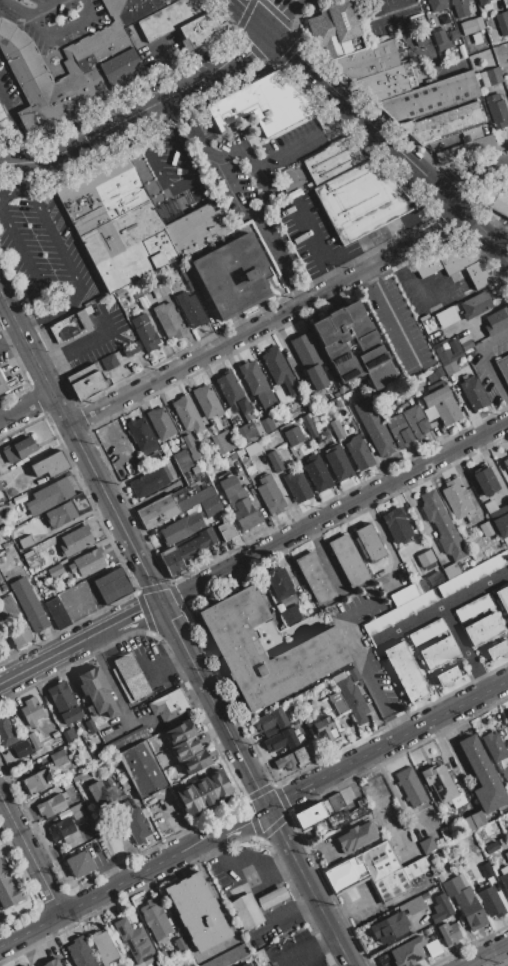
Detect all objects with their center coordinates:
building: (20, 0)
building: (482, 2)
building: (424, 4)
building: (437, 5)
building: (460, 7)
road: (41, 8)
road: (12, 10)
building: (507, 11)
road: (276, 12)
road: (389, 13)
road: (250, 14)
building: (170, 17)
building: (431, 23)
building: (501, 23)
building: (471, 25)
building: (332, 27)
traffic signals: (265, 28)
road: (63, 30)
building: (202, 30)
building: (420, 39)
building: (440, 40)
road: (250, 43)
building: (367, 60)
building: (74, 64)
road: (162, 69)
road: (213, 71)
parking lot: (4, 76)
building: (491, 77)
building: (386, 83)
building: (431, 97)
building: (266, 106)
building: (3, 111)
building: (498, 112)
building: (444, 121)
road: (15, 127)
building: (472, 134)
road: (99, 135)
road: (303, 141)
road: (386, 142)
building: (464, 149)
building: (334, 160)
road: (252, 168)
road: (18, 173)
road: (470, 173)
road: (183, 184)
parking lot: (246, 189)
road: (8, 194)
road: (240, 197)
building: (362, 201)
building: (500, 202)
building: (129, 222)
road: (507, 223)
road: (309, 232)
road: (499, 233)
parking lot: (41, 248)
road: (60, 252)
building: (455, 257)
road: (345, 259)
road: (25, 263)
building: (426, 265)
building: (480, 274)
building: (211, 276)
building: (174, 286)
road: (412, 287)
building: (155, 292)
building: (142, 301)
building: (476, 304)
building: (191, 309)
building: (447, 312)
road: (392, 316)
building: (168, 319)
road: (267, 320)
building: (496, 321)
road: (36, 323)
building: (71, 326)
parking lot: (98, 334)
building: (147, 336)
road: (10, 338)
building: (465, 344)
building: (371, 346)
building: (131, 350)
parking lot: (4, 352)
building: (448, 354)
road: (34, 357)
building: (471, 358)
building: (309, 361)
building: (109, 362)
road: (487, 362)
building: (503, 367)
building: (279, 370)
building: (439, 373)
building: (86, 381)
building: (7, 383)
building: (258, 385)
building: (417, 386)
building: (232, 392)
building: (396, 392)
building: (473, 393)
building: (206, 401)
road: (26, 404)
building: (440, 406)
building: (187, 413)
building: (415, 421)
building: (160, 422)
building: (266, 424)
building: (309, 425)
building: (346, 427)
building: (374, 427)
building: (336, 428)
building: (398, 430)
building: (212, 432)
building: (246, 432)
building: (143, 435)
building: (293, 435)
parking lot: (119, 440)
building: (218, 443)
building: (181, 444)
building: (172, 447)
building: (191, 447)
building: (252, 449)
building: (19, 450)
building: (359, 452)
building: (226, 459)
building: (274, 460)
building: (391, 460)
building: (338, 463)
building: (505, 463)
building: (49, 465)
building: (194, 469)
building: (189, 472)
building: (317, 474)
building: (485, 480)
building: (149, 482)
building: (0, 486)
building: (297, 487)
building: (179, 494)
building: (0, 495)
building: (270, 495)
building: (49, 496)
building: (195, 498)
building: (456, 498)
building: (238, 502)
building: (211, 506)
building: (490, 506)
building: (66, 511)
building: (157, 511)
road: (334, 513)
road: (115, 515)
building: (472, 519)
building: (0, 521)
building: (0, 522)
building: (396, 525)
building: (441, 525)
building: (501, 525)
building: (181, 528)
building: (486, 529)
building: (226, 530)
building: (76, 540)
building: (505, 540)
building: (25, 542)
building: (370, 543)
building: (186, 551)
building: (507, 551)
building: (403, 555)
building: (30, 558)
building: (1, 559)
building: (426, 559)
building: (348, 560)
building: (87, 562)
building: (54, 570)
building: (469, 573)
building: (0, 578)
building: (315, 578)
building: (279, 582)
building: (112, 584)
building: (422, 585)
building: (4, 586)
building: (403, 594)
parking lot: (80, 599)
building: (503, 599)
building: (28, 604)
traffic signals: (161, 606)
building: (473, 607)
building: (9, 608)
road: (89, 610)
building: (56, 612)
road: (135, 612)
building: (398, 613)
building: (287, 616)
road: (447, 617)
road: (408, 625)
building: (483, 629)
building: (427, 631)
road: (95, 633)
building: (19, 636)
building: (3, 644)
building: (318, 644)
building: (496, 649)
building: (439, 653)
road: (357, 660)
road: (39, 663)
building: (405, 671)
building: (353, 674)
building: (131, 676)
building: (447, 676)
building: (122, 685)
road: (131, 685)
building: (97, 693)
building: (352, 698)
building: (337, 702)
building: (64, 703)
building: (168, 705)
road: (215, 705)
building: (31, 713)
building: (507, 716)
building: (271, 721)
building: (90, 726)
building: (326, 728)
building: (179, 732)
building: (6, 733)
building: (68, 735)
building: (130, 739)
building: (33, 740)
building: (281, 740)
road: (388, 743)
building: (493, 746)
building: (21, 748)
building: (185, 748)
building: (95, 754)
building: (58, 757)
building: (292, 759)
building: (195, 761)
building: (503, 763)
building: (142, 769)
building: (93, 772)
building: (505, 774)
building: (482, 776)
building: (80, 777)
building: (37, 781)
building: (440, 783)
building: (218, 784)
building: (64, 785)
building: (411, 786)
building: (204, 792)
building: (132, 794)
building: (97, 795)
building: (188, 800)
building: (335, 801)
road: (389, 804)
building: (50, 805)
traffic signals: (270, 806)
building: (75, 808)
building: (309, 814)
building: (346, 815)
building: (147, 819)
building: (474, 820)
building: (449, 821)
building: (133, 822)
building: (61, 830)
building: (357, 836)
building: (503, 844)
building: (427, 845)
building: (490, 847)
road: (31, 853)
building: (79, 864)
building: (485, 870)
building: (375, 871)
road: (134, 875)
road: (240, 877)
building: (504, 877)
building: (8, 886)
road: (311, 886)
building: (271, 897)
gas station: (271, 897)
building: (424, 899)
building: (464, 901)
building: (490, 901)
building: (413, 905)
road: (292, 908)
building: (441, 908)
road: (347, 909)
building: (247, 911)
building: (197, 912)
building: (155, 919)
building: (389, 926)
building: (426, 932)
building: (449, 932)
building: (133, 940)
building: (180, 944)
building: (104, 947)
road: (306, 948)
building: (433, 948)
building: (80, 952)
building: (407, 952)
road: (485, 954)
building: (227, 957)
building: (261, 957)
road: (310, 957)
road: (332, 958)
building: (52, 962)
building: (128, 964)
building: (246, 964)
building: (25, 965)

